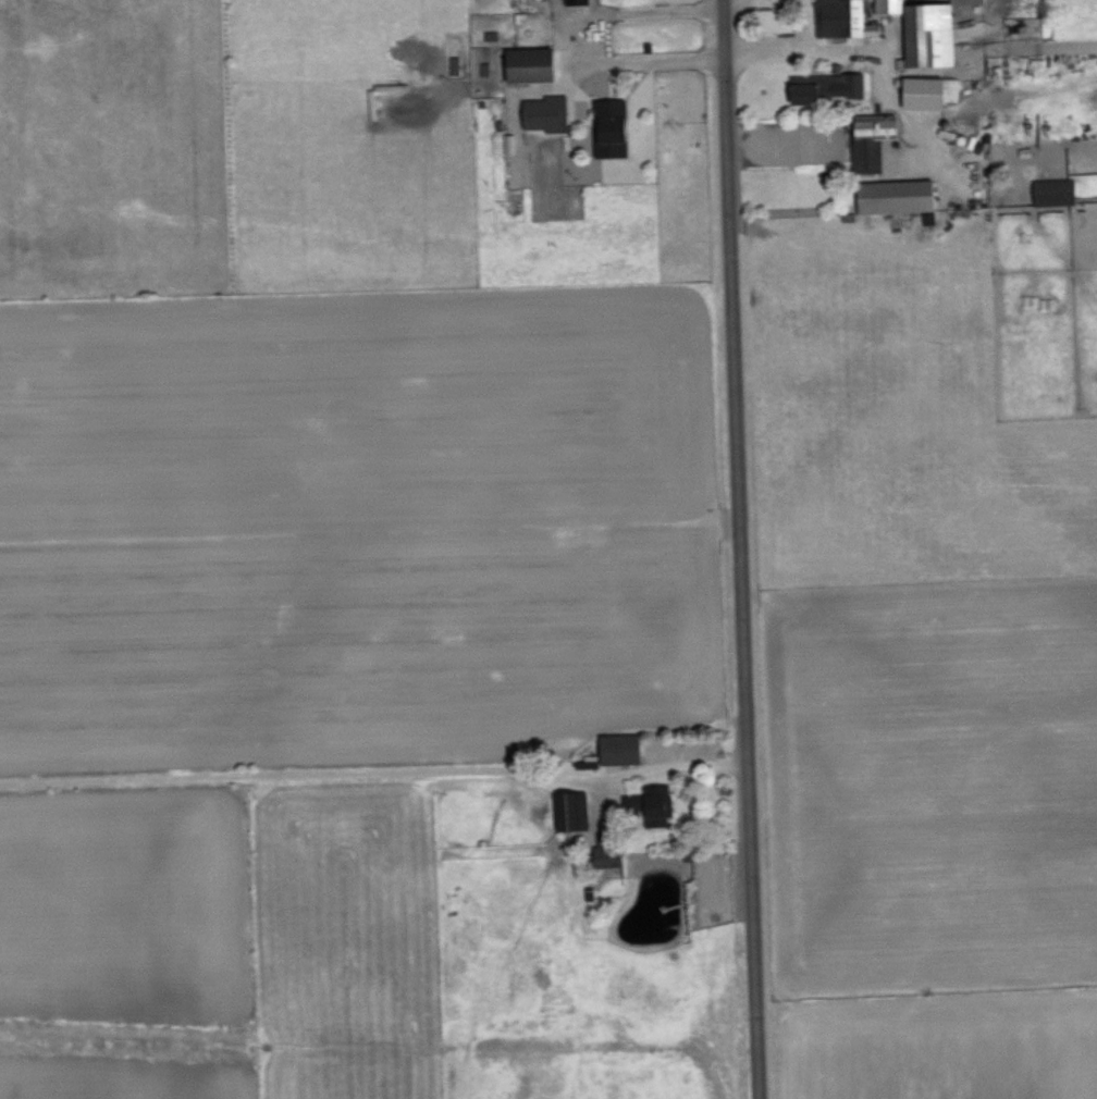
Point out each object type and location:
building: (579, 1)
building: (971, 1)
building: (846, 17)
building: (930, 30)
road: (848, 55)
building: (534, 64)
building: (456, 65)
building: (837, 87)
building: (932, 91)
building: (550, 112)
building: (615, 127)
building: (875, 140)
building: (1058, 190)
building: (901, 196)
road: (749, 548)
building: (625, 749)
road: (379, 779)
building: (575, 812)
building: (612, 849)

